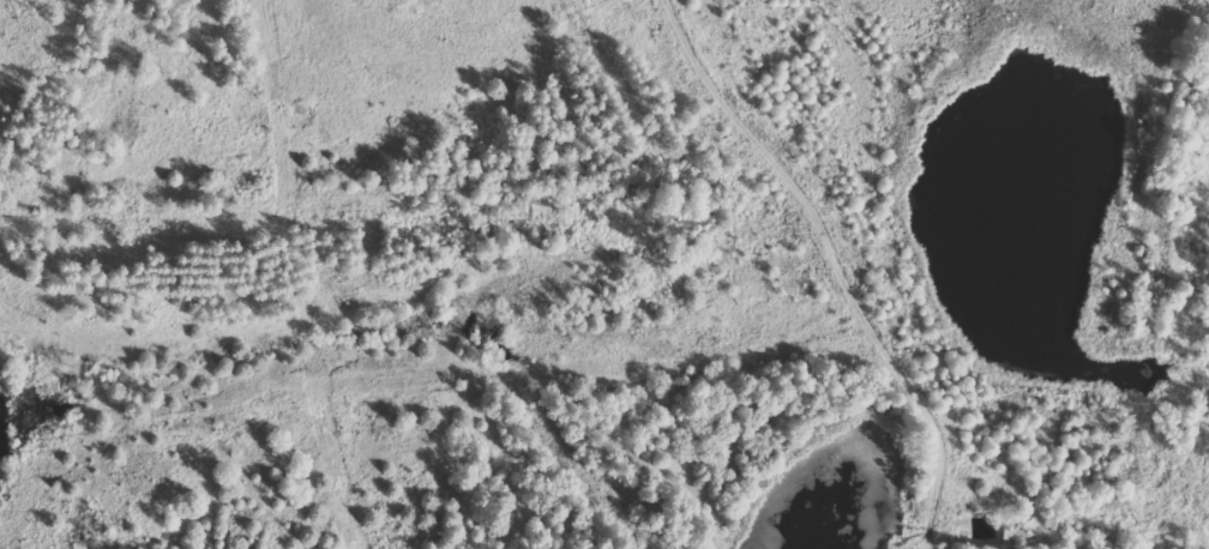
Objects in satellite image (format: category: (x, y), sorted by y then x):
road: (829, 263)

